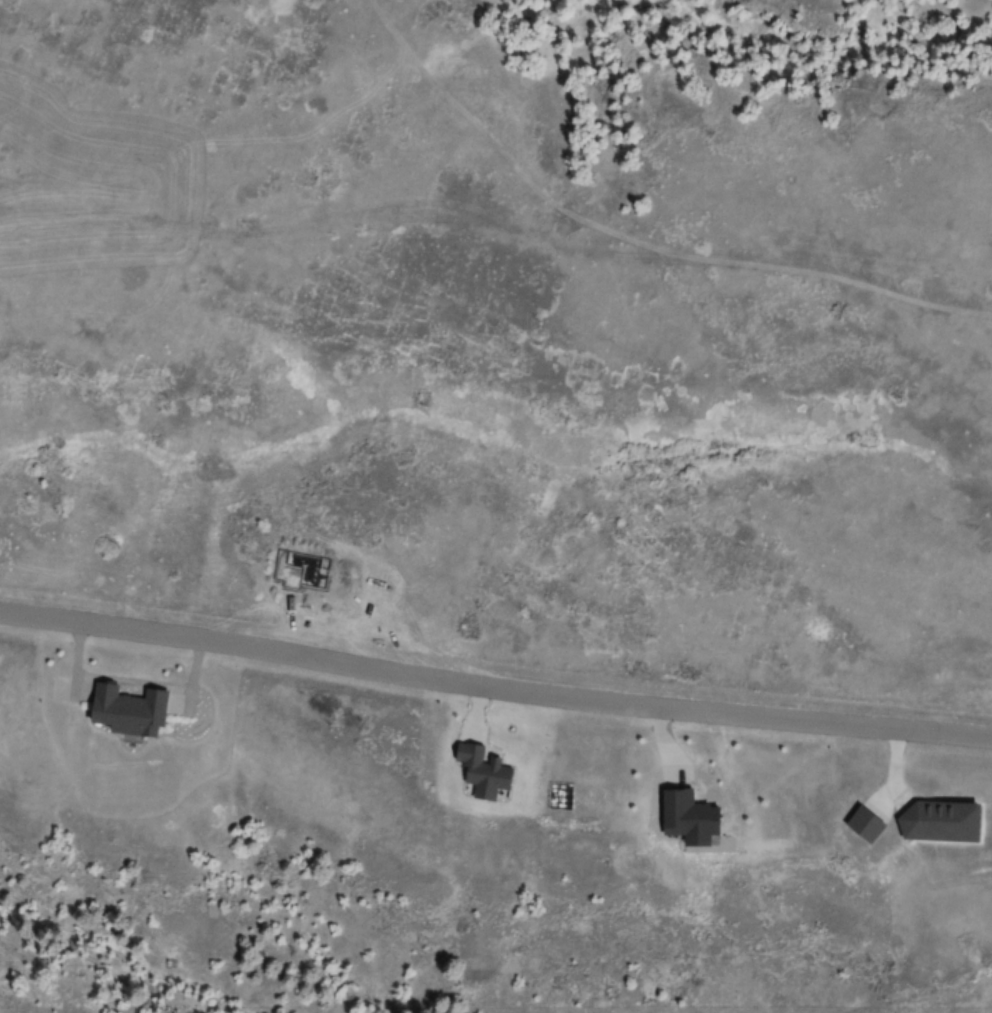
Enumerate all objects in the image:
road: (494, 689)

